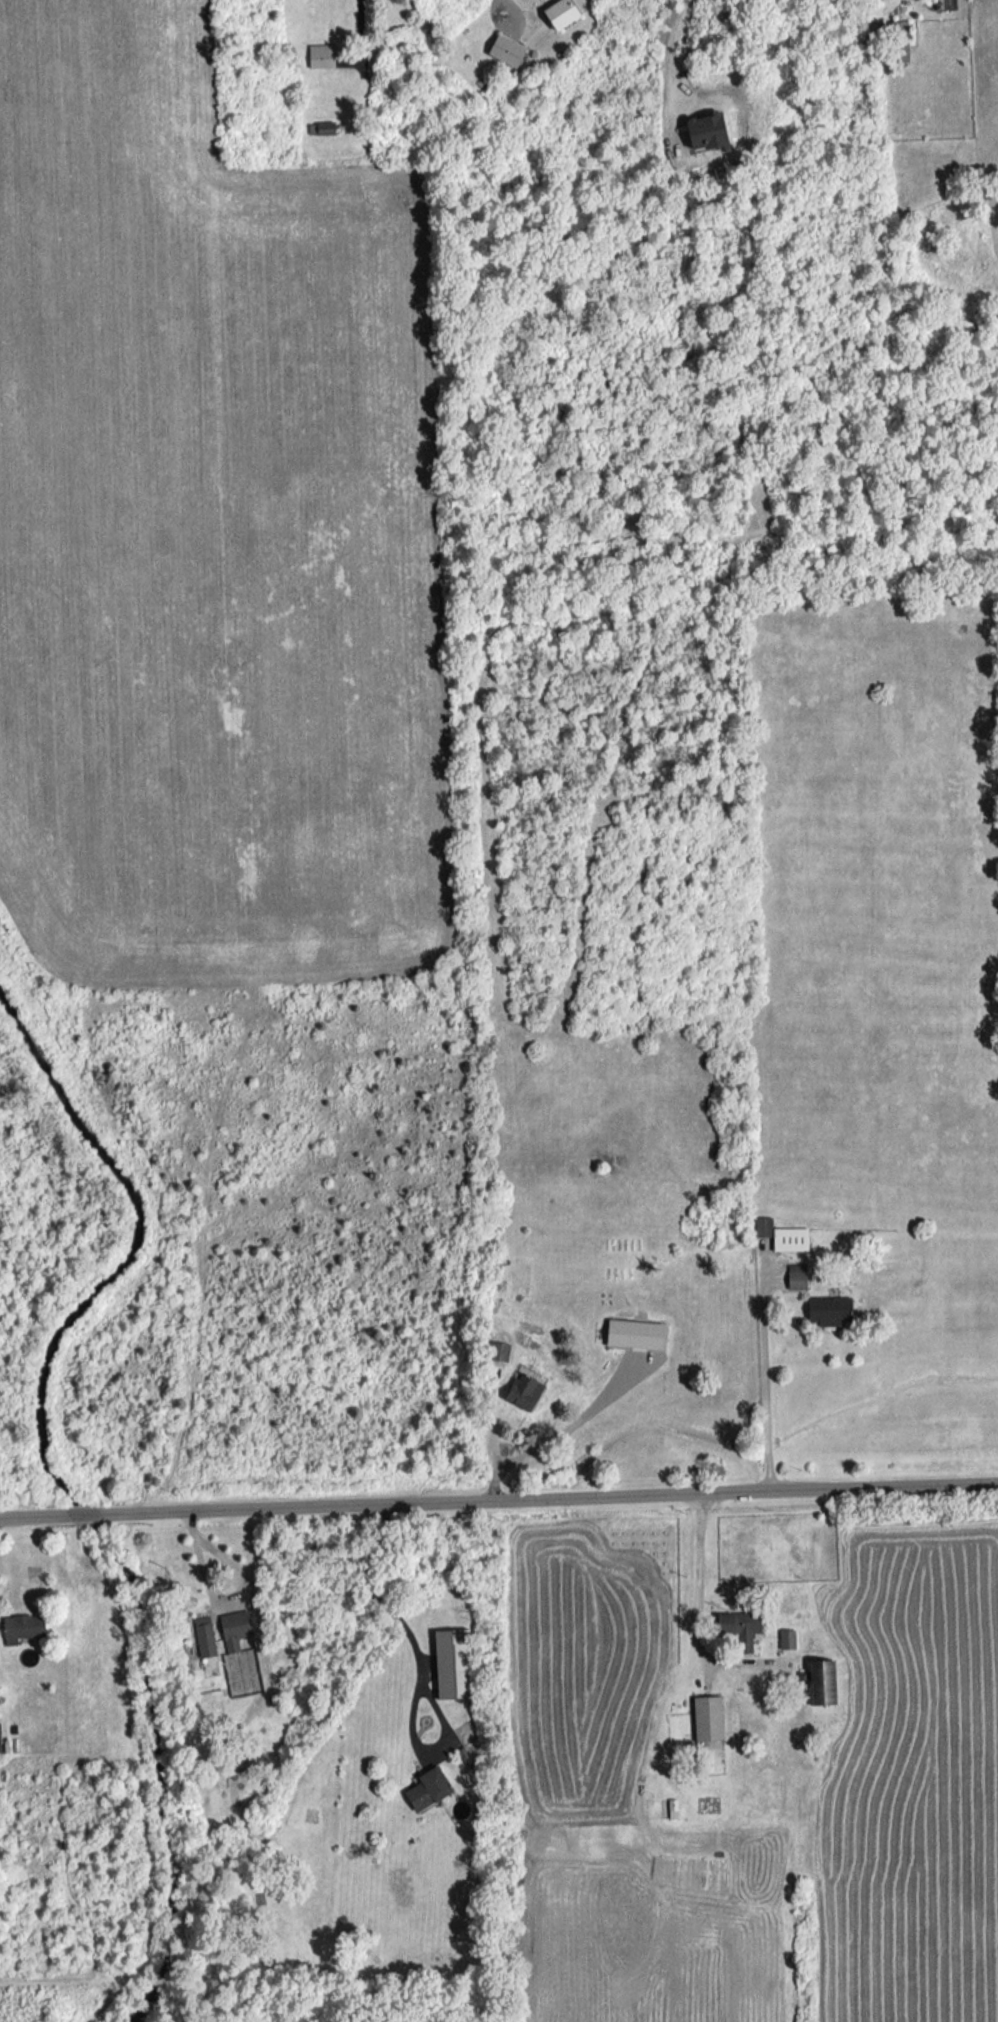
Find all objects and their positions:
building: (560, 12)
road: (361, 28)
building: (899, 40)
building: (505, 49)
building: (320, 55)
building: (320, 127)
building: (706, 131)
building: (762, 1225)
building: (789, 1238)
building: (796, 1276)
building: (829, 1310)
building: (634, 1333)
building: (498, 1350)
road: (765, 1385)
building: (523, 1390)
road: (562, 1430)
road: (548, 1498)
road: (83, 1512)
road: (34, 1514)
road: (226, 1593)
road: (696, 1613)
road: (405, 1625)
building: (22, 1626)
building: (739, 1627)
building: (204, 1635)
building: (786, 1638)
building: (239, 1653)
building: (452, 1662)
building: (822, 1681)
building: (707, 1717)
building: (428, 1788)

